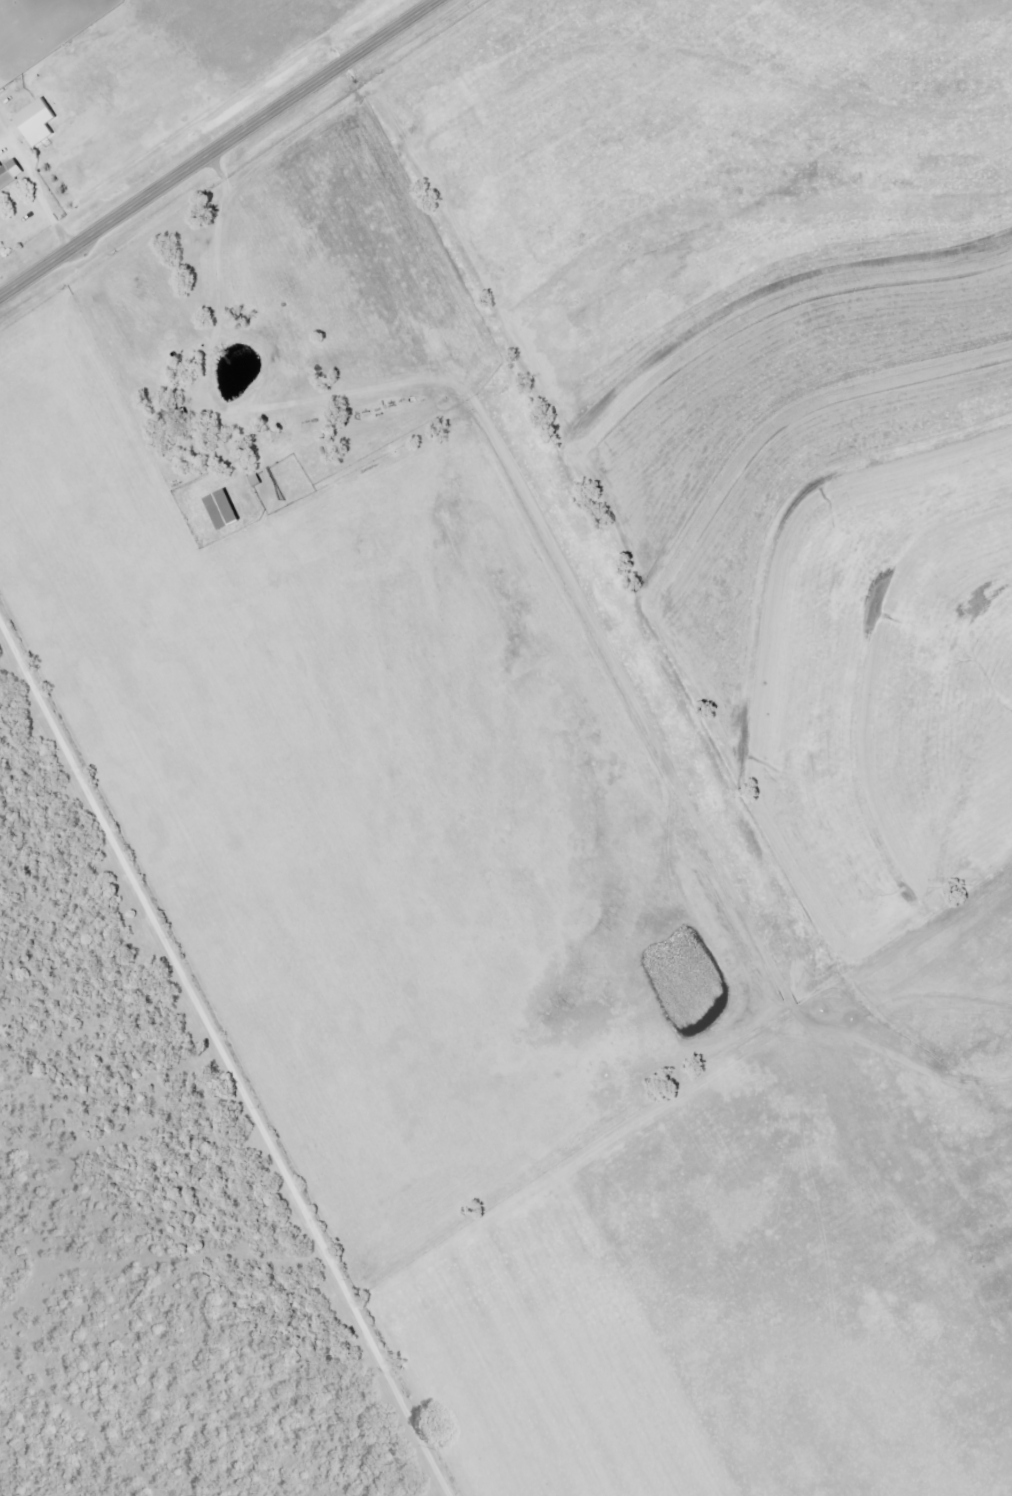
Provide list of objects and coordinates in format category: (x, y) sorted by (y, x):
road: (217, 148)
building: (9, 174)
road: (45, 208)
road: (385, 383)
building: (172, 415)
building: (220, 511)
road: (224, 1060)

